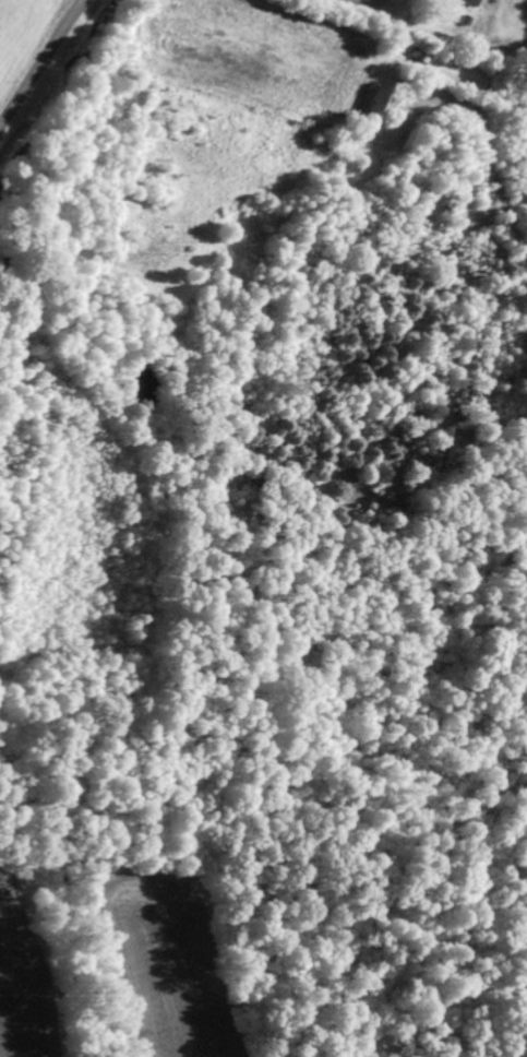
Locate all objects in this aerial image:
building: (476, 2)
road: (40, 63)
building: (380, 104)

